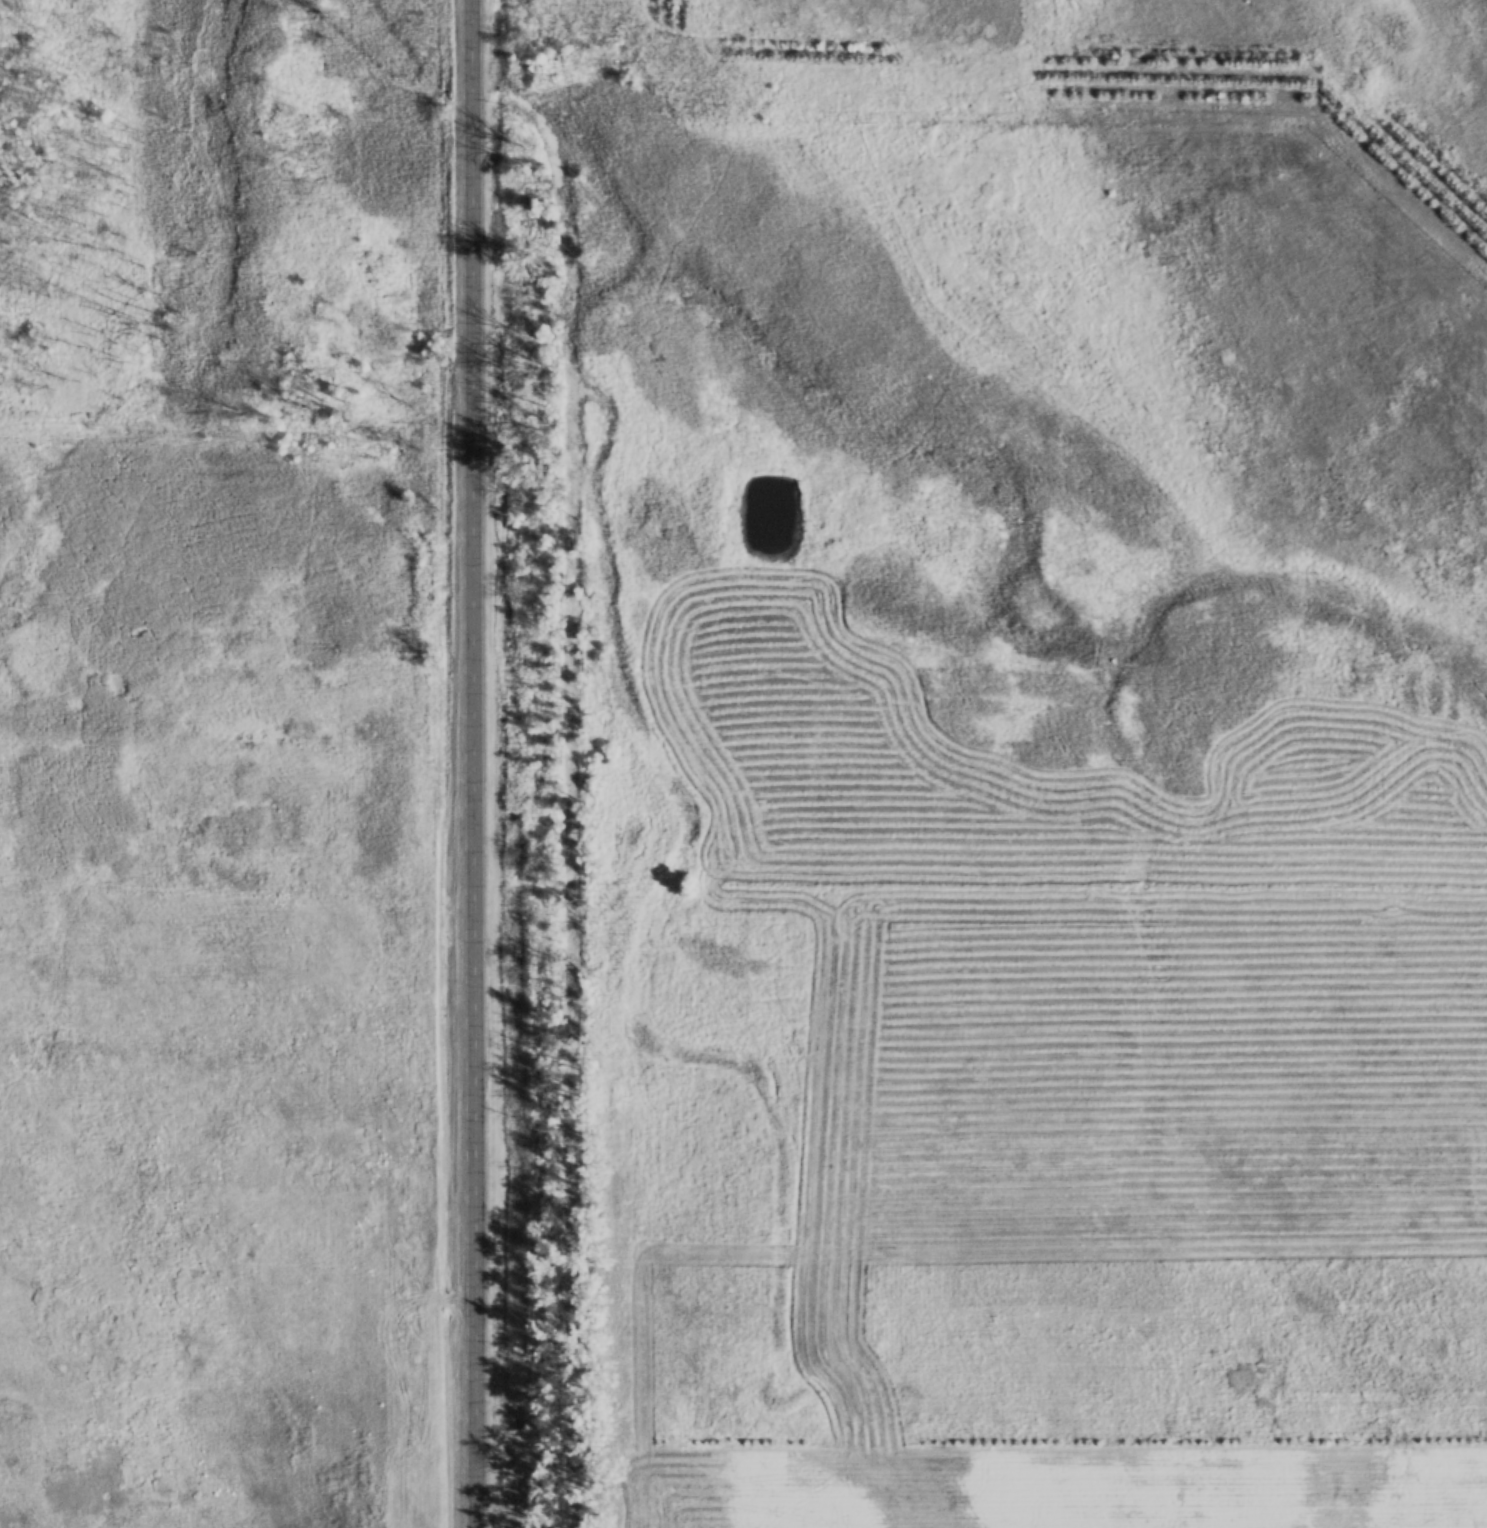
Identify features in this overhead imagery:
road: (168, 366)
road: (474, 763)

